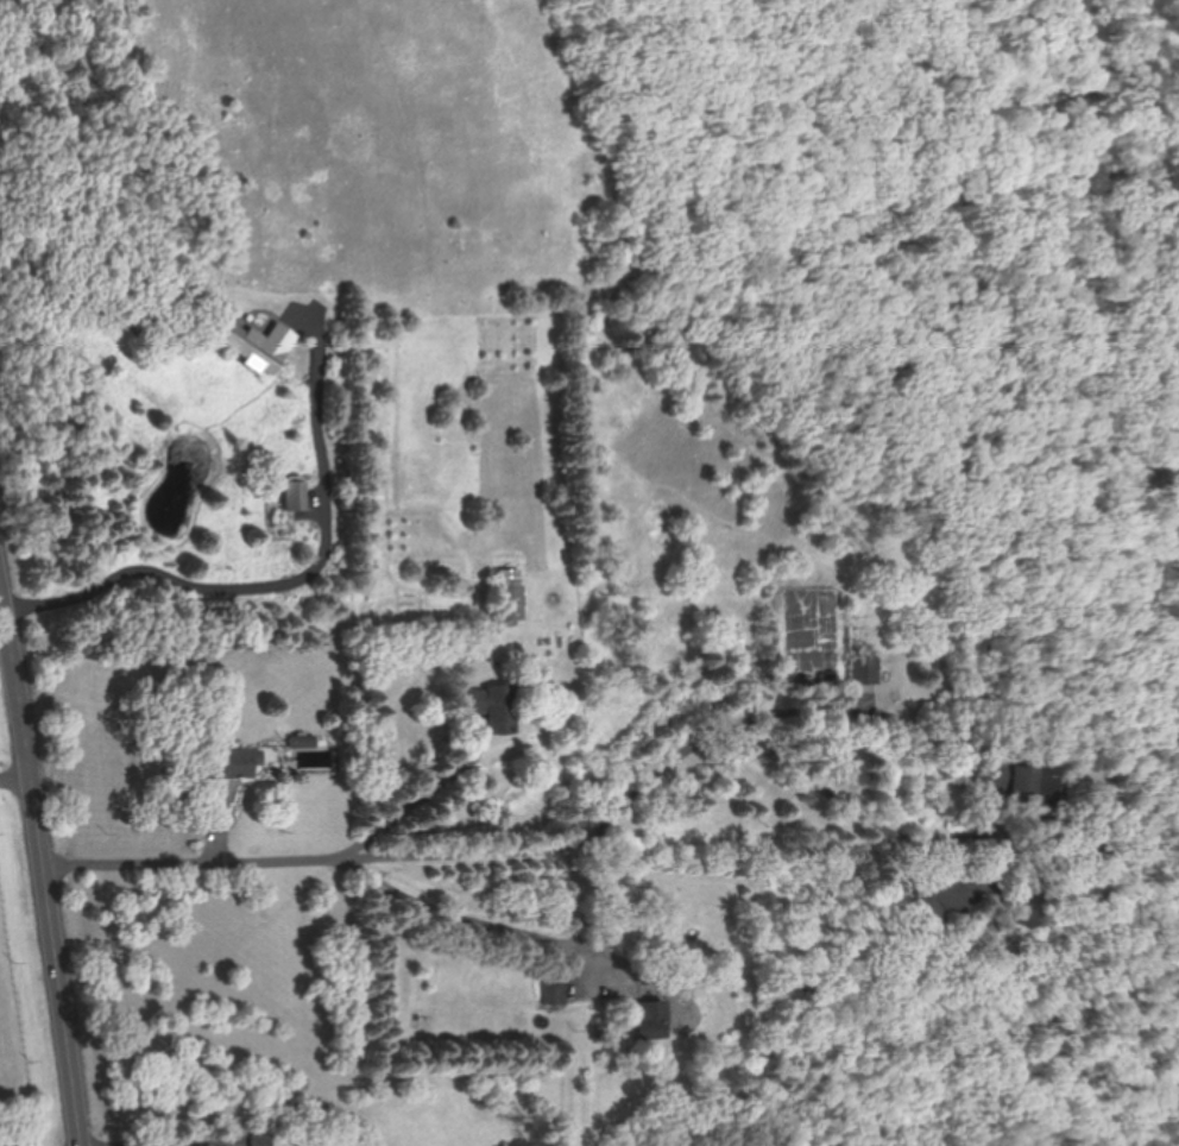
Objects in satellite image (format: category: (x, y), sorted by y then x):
park: (638, 174)
road: (907, 235)
road: (279, 573)
building: (509, 594)
building: (863, 669)
road: (23, 709)
building: (493, 709)
road: (817, 710)
building: (228, 763)
building: (1019, 780)
road: (18, 785)
road: (420, 798)
road: (465, 856)
road: (198, 863)
building: (932, 898)
road: (479, 918)
building: (1024, 919)
road: (65, 1006)
building: (648, 1019)
building: (260, 1140)
road: (160, 1142)

